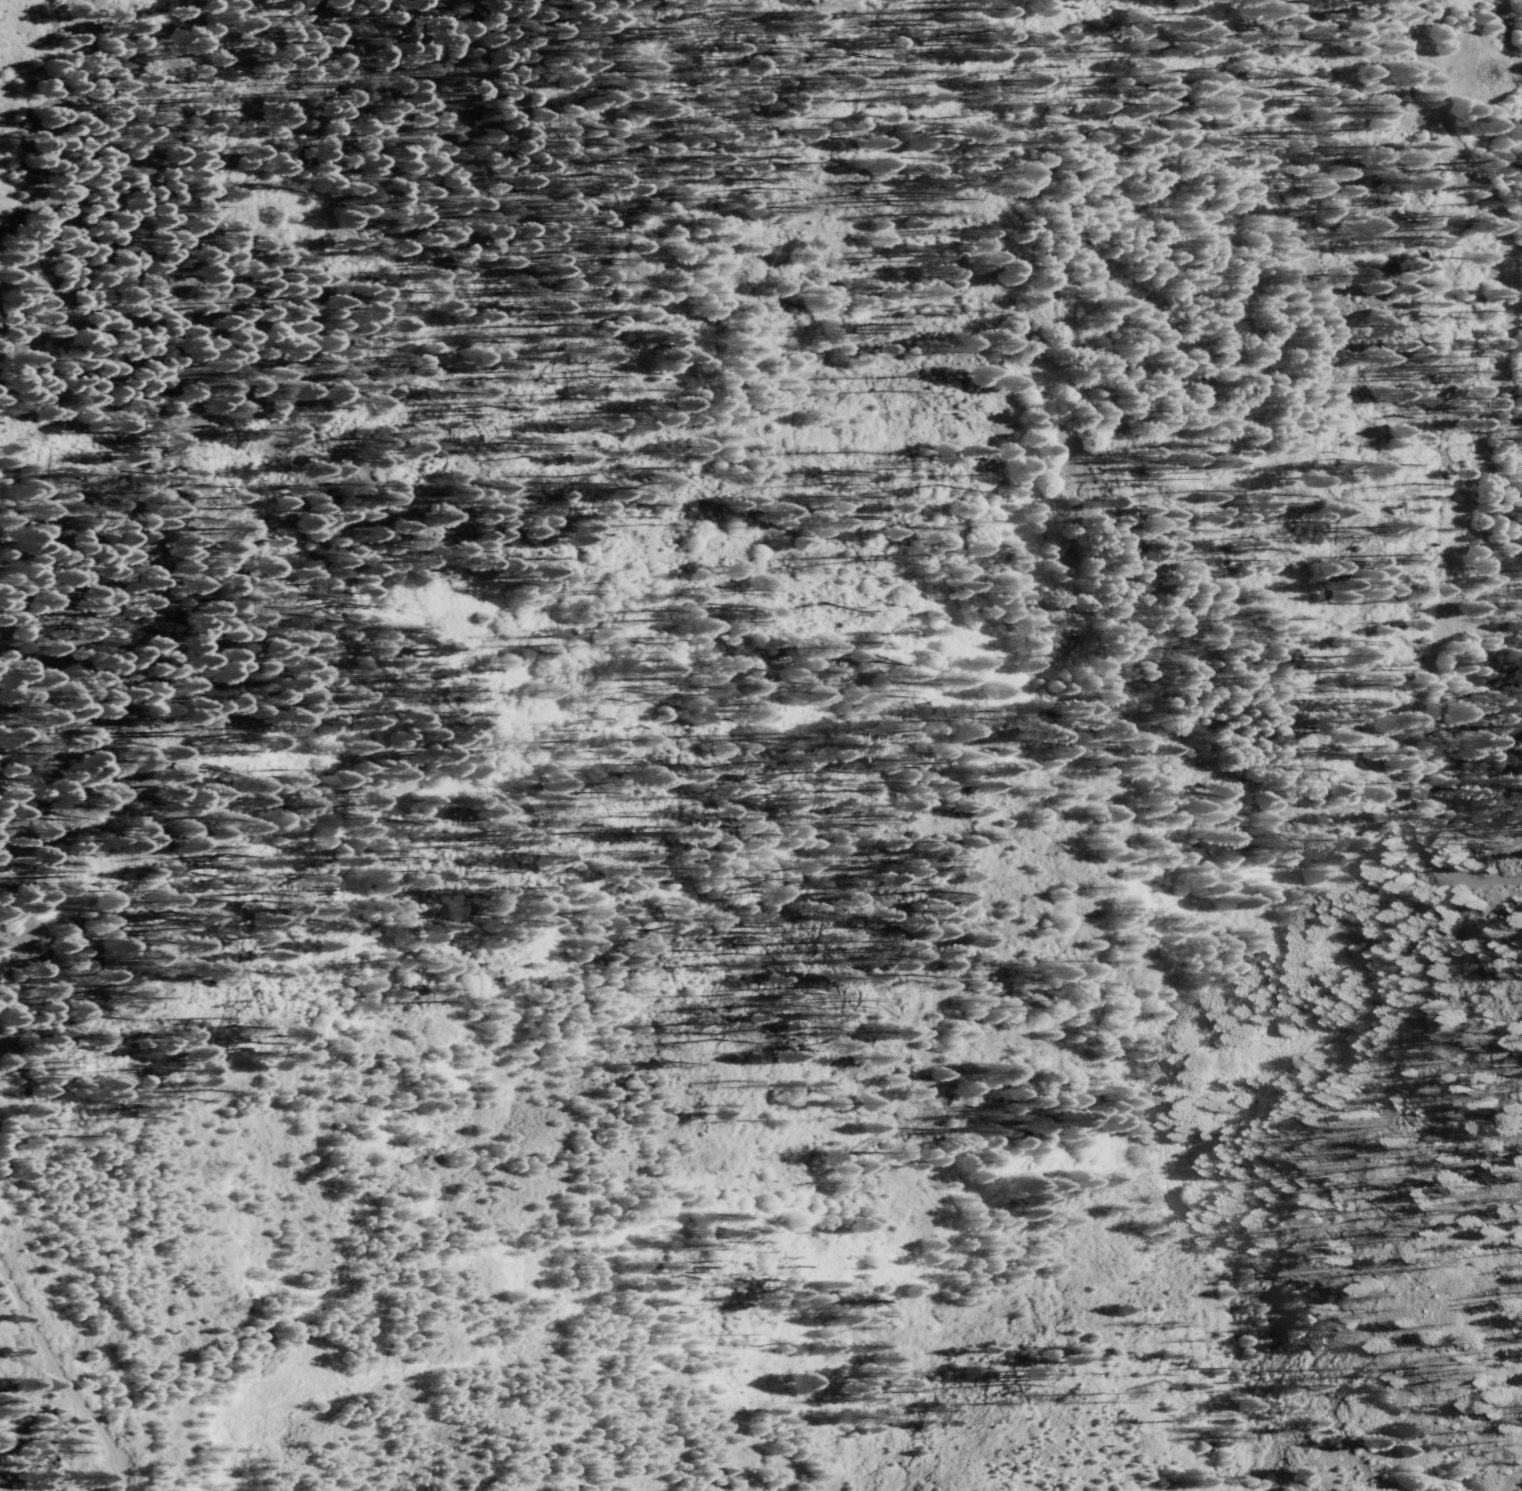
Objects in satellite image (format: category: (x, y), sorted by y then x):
road: (1462, 477)
road: (57, 1379)

